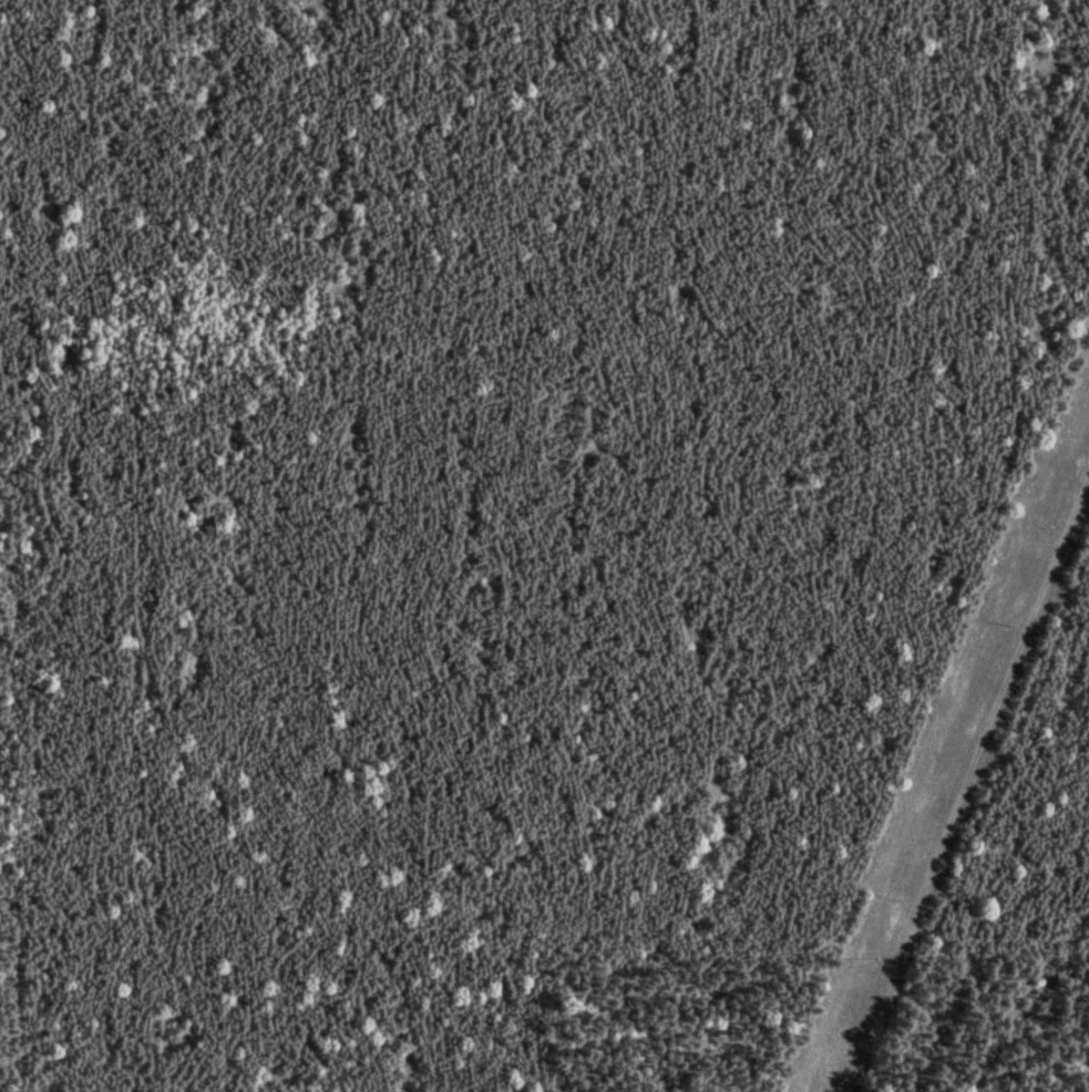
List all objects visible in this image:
road: (965, 786)

